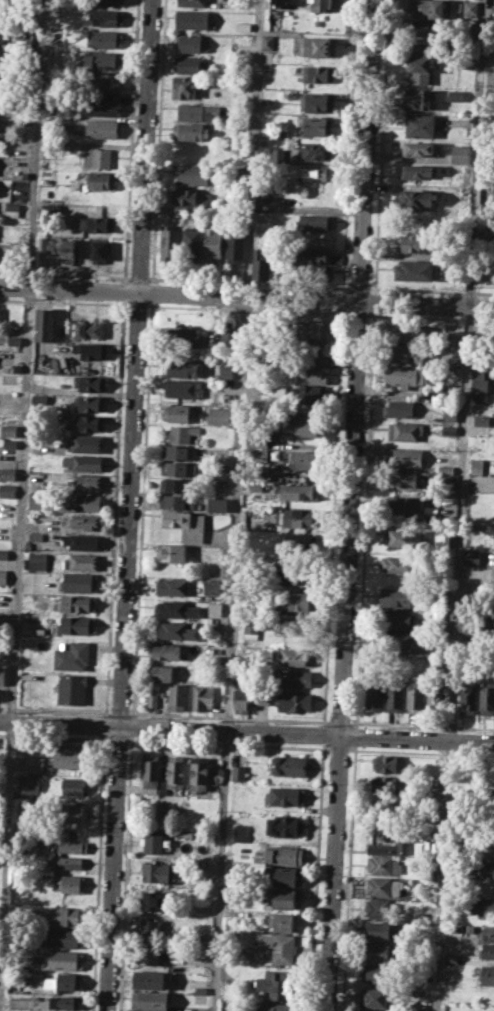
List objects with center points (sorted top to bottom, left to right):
building: (106, 2)
building: (191, 2)
building: (325, 5)
building: (426, 8)
building: (470, 8)
building: (0, 11)
building: (105, 17)
building: (193, 19)
building: (273, 20)
building: (242, 26)
building: (3, 33)
building: (423, 33)
building: (105, 38)
building: (267, 41)
building: (190, 43)
building: (319, 46)
building: (102, 60)
building: (190, 64)
building: (422, 67)
building: (315, 73)
building: (268, 74)
building: (103, 84)
building: (186, 87)
building: (456, 95)
building: (418, 97)
building: (317, 101)
building: (101, 106)
building: (196, 112)
building: (420, 125)
building: (100, 127)
building: (317, 127)
building: (192, 132)
road: (131, 141)
road: (348, 145)
road: (381, 146)
building: (418, 148)
building: (315, 151)
building: (277, 154)
building: (460, 154)
building: (97, 157)
building: (417, 170)
building: (315, 172)
building: (191, 174)
building: (101, 180)
building: (191, 197)
building: (417, 199)
building: (12, 210)
building: (317, 222)
building: (97, 223)
building: (489, 225)
building: (169, 242)
building: (42, 243)
building: (414, 243)
building: (191, 244)
building: (212, 244)
building: (235, 246)
building: (67, 251)
building: (100, 251)
building: (314, 254)
building: (261, 261)
building: (416, 269)
building: (314, 272)
road: (64, 274)
road: (139, 278)
road: (250, 282)
road: (359, 288)
road: (124, 290)
road: (431, 290)
road: (246, 296)
road: (342, 299)
road: (63, 301)
road: (374, 301)
road: (136, 304)
road: (247, 308)
building: (0, 312)
road: (357, 313)
road: (430, 316)
building: (44, 324)
building: (85, 329)
building: (313, 330)
building: (403, 330)
building: (229, 335)
building: (186, 337)
building: (453, 347)
building: (93, 352)
building: (311, 352)
building: (404, 353)
building: (185, 367)
building: (227, 371)
building: (311, 375)
building: (405, 375)
building: (478, 378)
building: (90, 383)
building: (185, 388)
building: (305, 396)
building: (39, 397)
building: (480, 397)
building: (89, 403)
building: (399, 408)
building: (178, 412)
building: (449, 413)
building: (220, 415)
building: (481, 420)
building: (89, 422)
building: (304, 426)
building: (448, 429)
building: (8, 430)
building: (405, 430)
building: (181, 433)
building: (259, 437)
building: (10, 443)
building: (87, 443)
building: (176, 452)
building: (260, 456)
building: (403, 457)
building: (303, 459)
building: (83, 462)
building: (475, 466)
building: (176, 468)
building: (446, 469)
building: (7, 473)
building: (401, 478)
building: (85, 482)
building: (176, 484)
building: (6, 491)
building: (299, 491)
road: (20, 492)
building: (35, 500)
building: (176, 501)
building: (81, 502)
building: (218, 504)
road: (129, 505)
road: (236, 505)
road: (349, 505)
road: (460, 505)
building: (404, 506)
road: (114, 507)
building: (6, 511)
building: (299, 516)
road: (332, 516)
road: (365, 518)
building: (84, 522)
building: (185, 523)
building: (35, 535)
building: (397, 537)
building: (80, 541)
building: (299, 541)
building: (170, 552)
building: (4, 553)
building: (471, 557)
building: (37, 561)
building: (81, 561)
building: (396, 564)
building: (3, 576)
building: (295, 577)
building: (80, 582)
building: (173, 586)
building: (212, 586)
building: (30, 595)
building: (397, 597)
building: (299, 600)
building: (78, 603)
building: (215, 605)
building: (175, 609)
building: (395, 618)
building: (487, 619)
building: (78, 625)
building: (294, 625)
building: (250, 627)
building: (177, 630)
building: (395, 638)
building: (164, 651)
building: (72, 656)
building: (294, 656)
building: (161, 672)
building: (1, 675)
building: (295, 678)
building: (71, 688)
building: (176, 696)
building: (262, 696)
building: (374, 696)
building: (394, 696)
building: (415, 696)
building: (201, 697)
building: (467, 698)
building: (152, 699)
building: (435, 699)
building: (487, 699)
building: (241, 700)
building: (295, 701)
road: (55, 709)
road: (119, 712)
road: (229, 717)
road: (340, 722)
road: (104, 725)
road: (421, 725)
road: (247, 730)
road: (322, 733)
road: (355, 735)
building: (71, 756)
building: (34, 763)
building: (387, 763)
building: (288, 765)
building: (175, 771)
building: (237, 772)
building: (150, 773)
building: (201, 774)
building: (28, 783)
building: (390, 785)
building: (72, 786)
building: (490, 786)
building: (286, 796)
building: (22, 809)
building: (163, 810)
building: (71, 812)
building: (491, 812)
building: (285, 825)
building: (240, 832)
building: (491, 836)
building: (66, 841)
building: (153, 842)
building: (403, 845)
building: (381, 846)
building: (283, 854)
building: (65, 861)
building: (384, 864)
building: (484, 869)
building: (155, 871)
road: (98, 872)
building: (287, 876)
road: (316, 876)
road: (349, 877)
building: (69, 883)
building: (382, 886)
building: (286, 898)
building: (157, 900)
building: (485, 905)
building: (382, 908)
building: (65, 915)
building: (285, 921)
building: (149, 928)
building: (379, 930)
building: (487, 933)
building: (62, 937)
building: (279, 946)
building: (378, 951)
building: (486, 951)
building: (146, 954)
building: (451, 958)
building: (59, 960)
building: (486, 973)
building: (378, 974)
building: (148, 978)
building: (62, 981)
building: (275, 985)
building: (200, 989)
building: (376, 997)
building: (199, 999)
building: (150, 1000)
building: (63, 1002)
building: (272, 1006)

